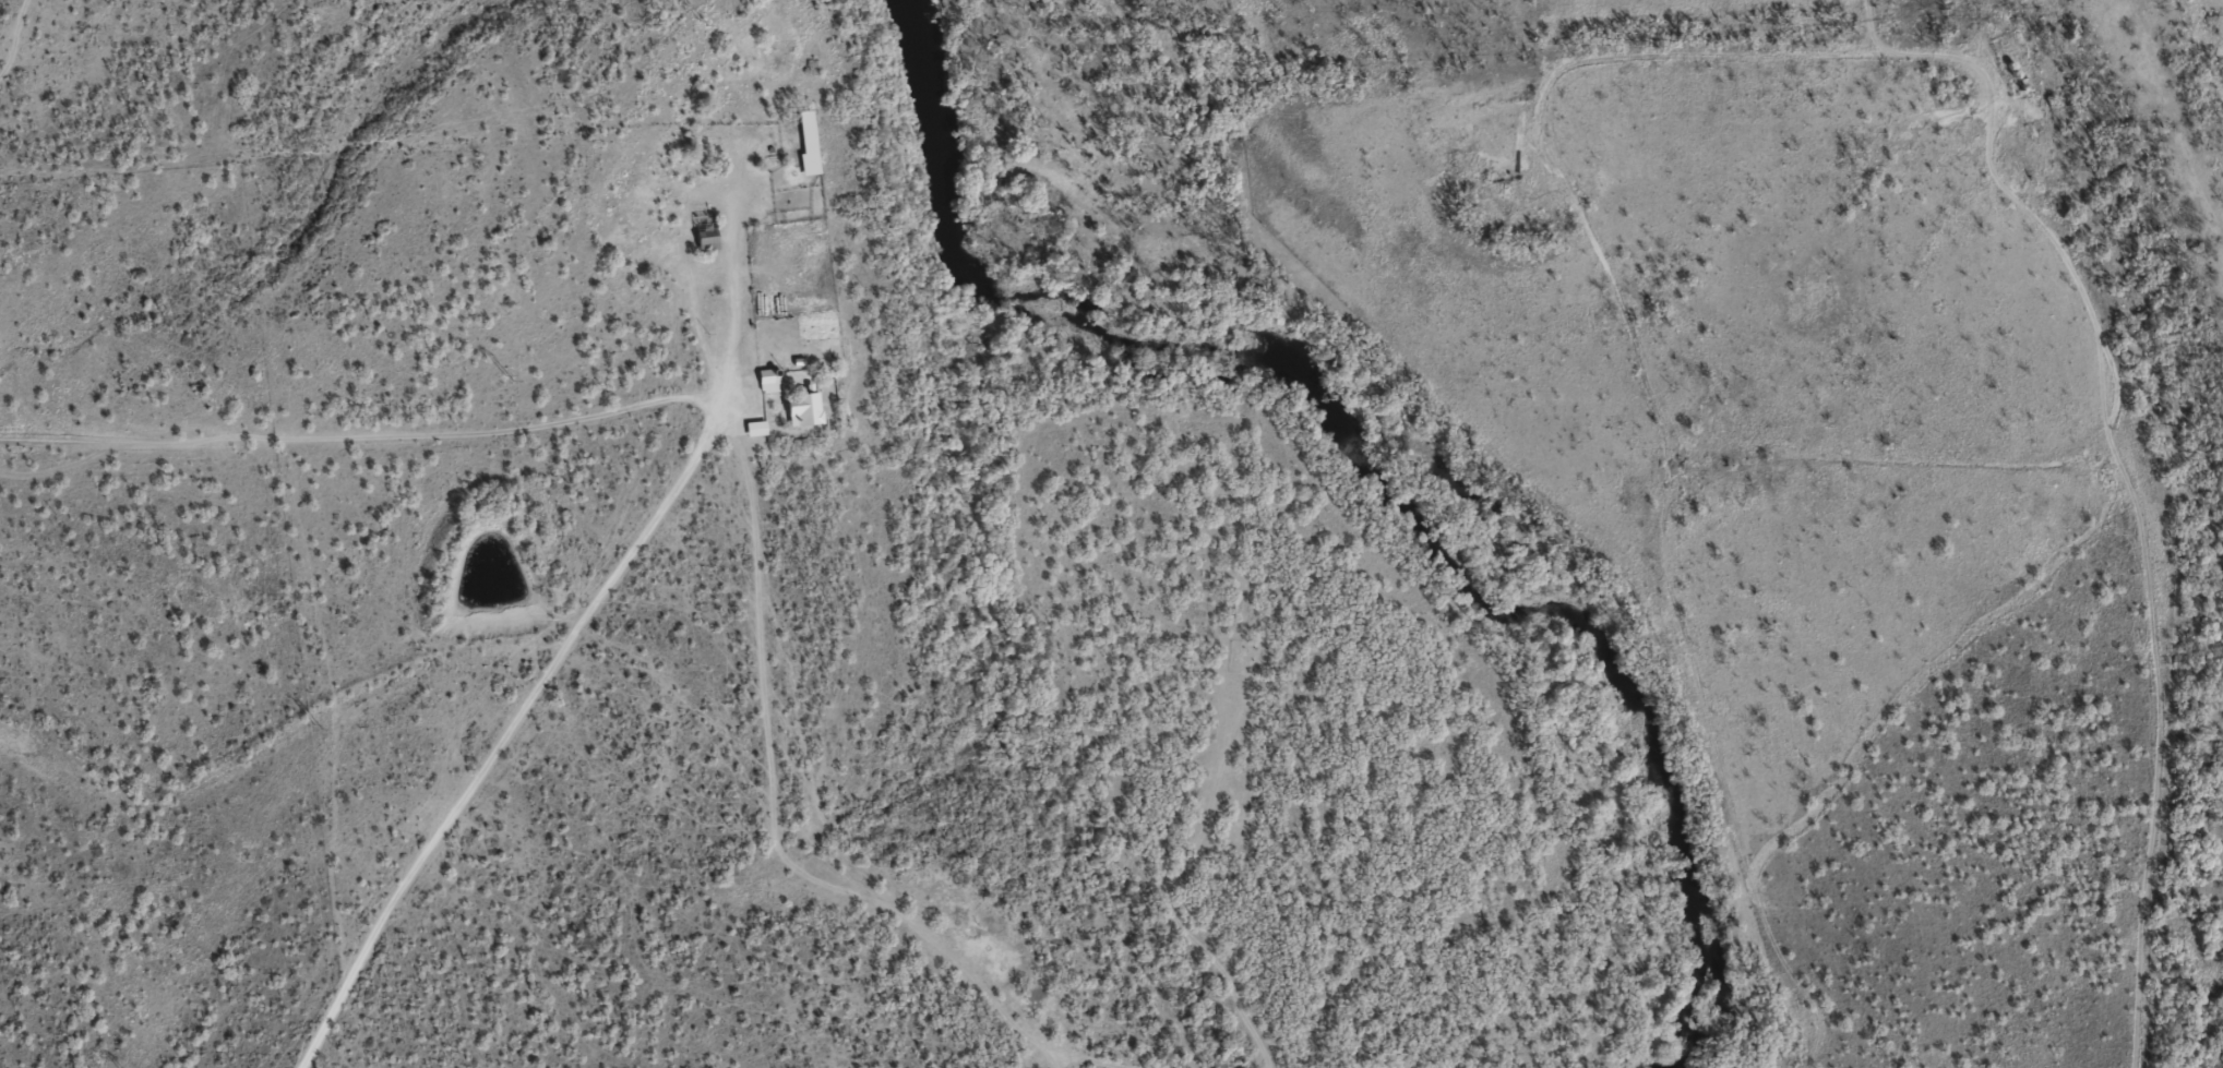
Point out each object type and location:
power tower: (704, 23)
building: (805, 152)
building: (704, 245)
power tower: (509, 379)
building: (802, 419)
building: (754, 439)
road: (721, 551)
power tower: (318, 727)
road: (493, 761)

